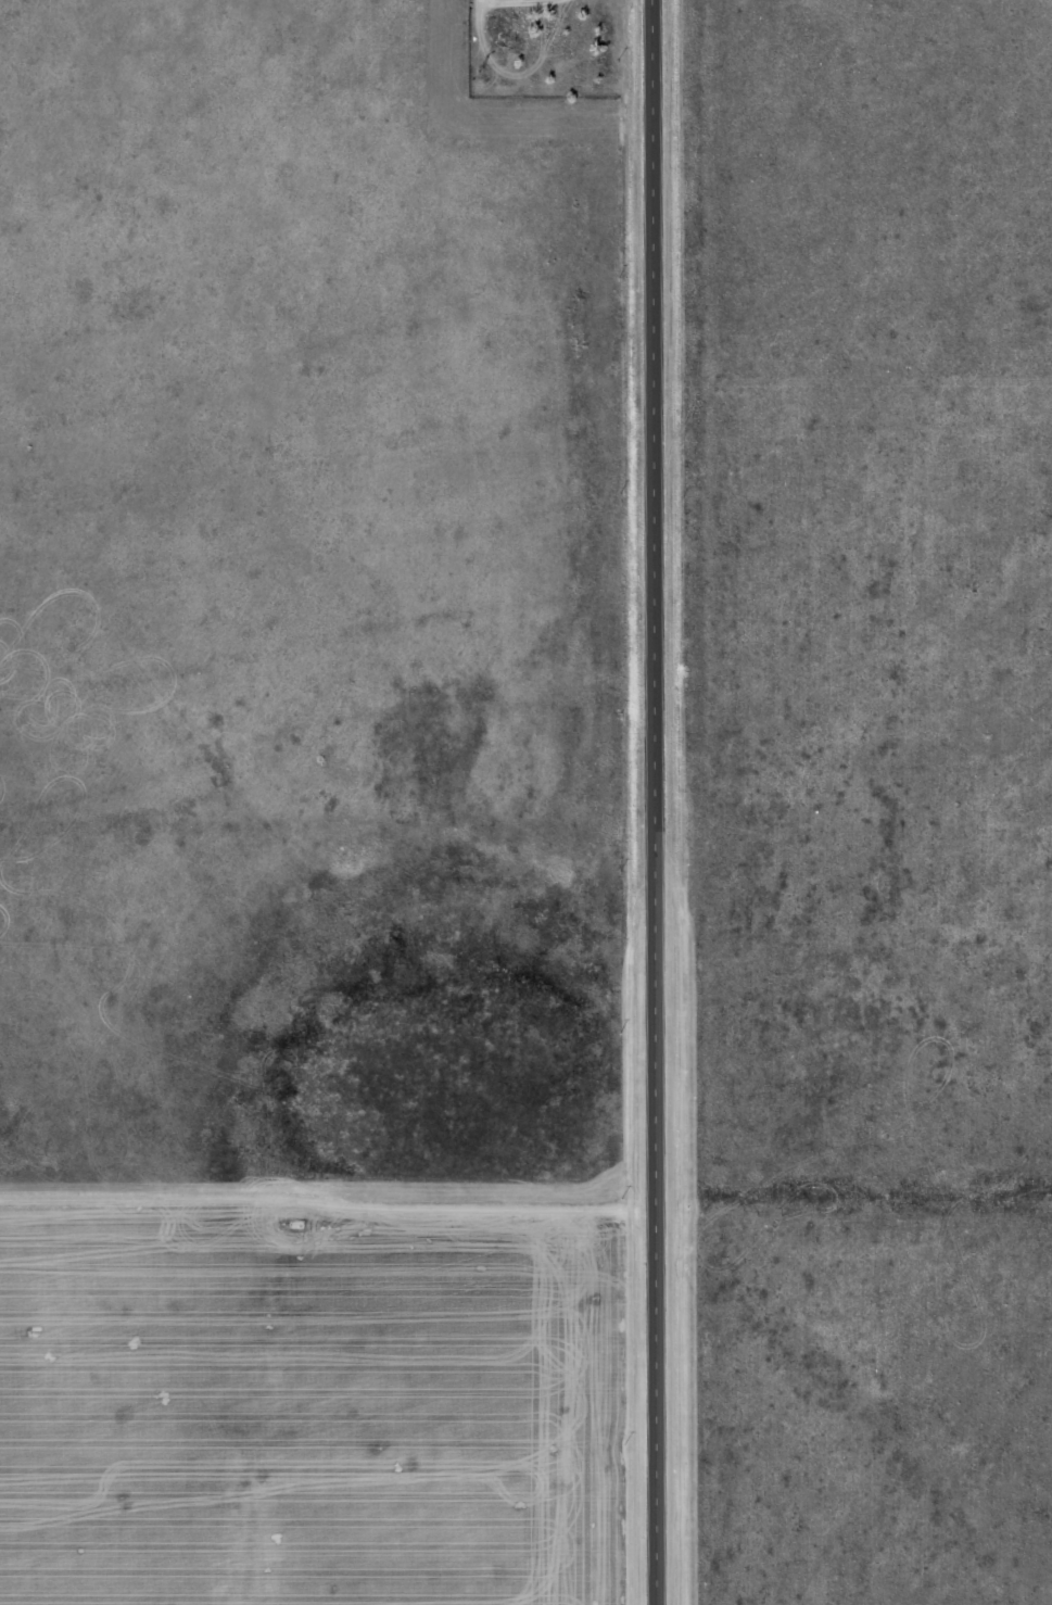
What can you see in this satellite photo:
road: (655, 802)
road: (853, 1178)

